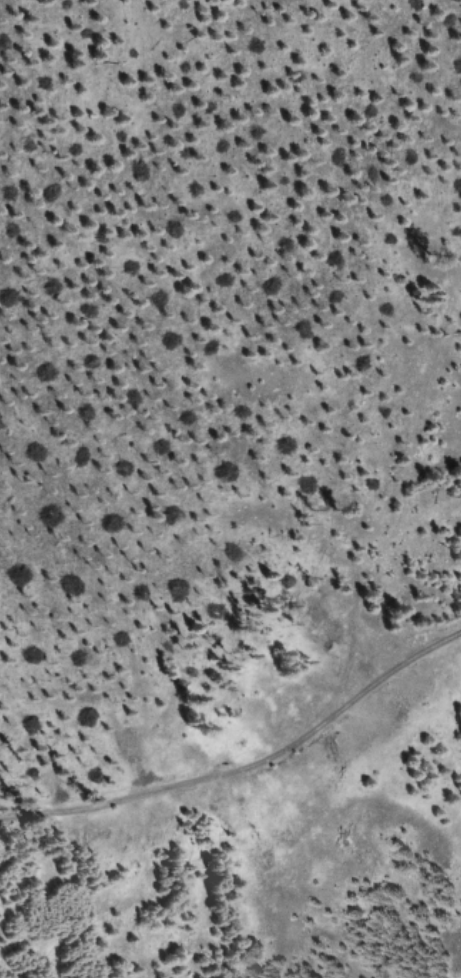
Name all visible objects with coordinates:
road: (247, 794)

